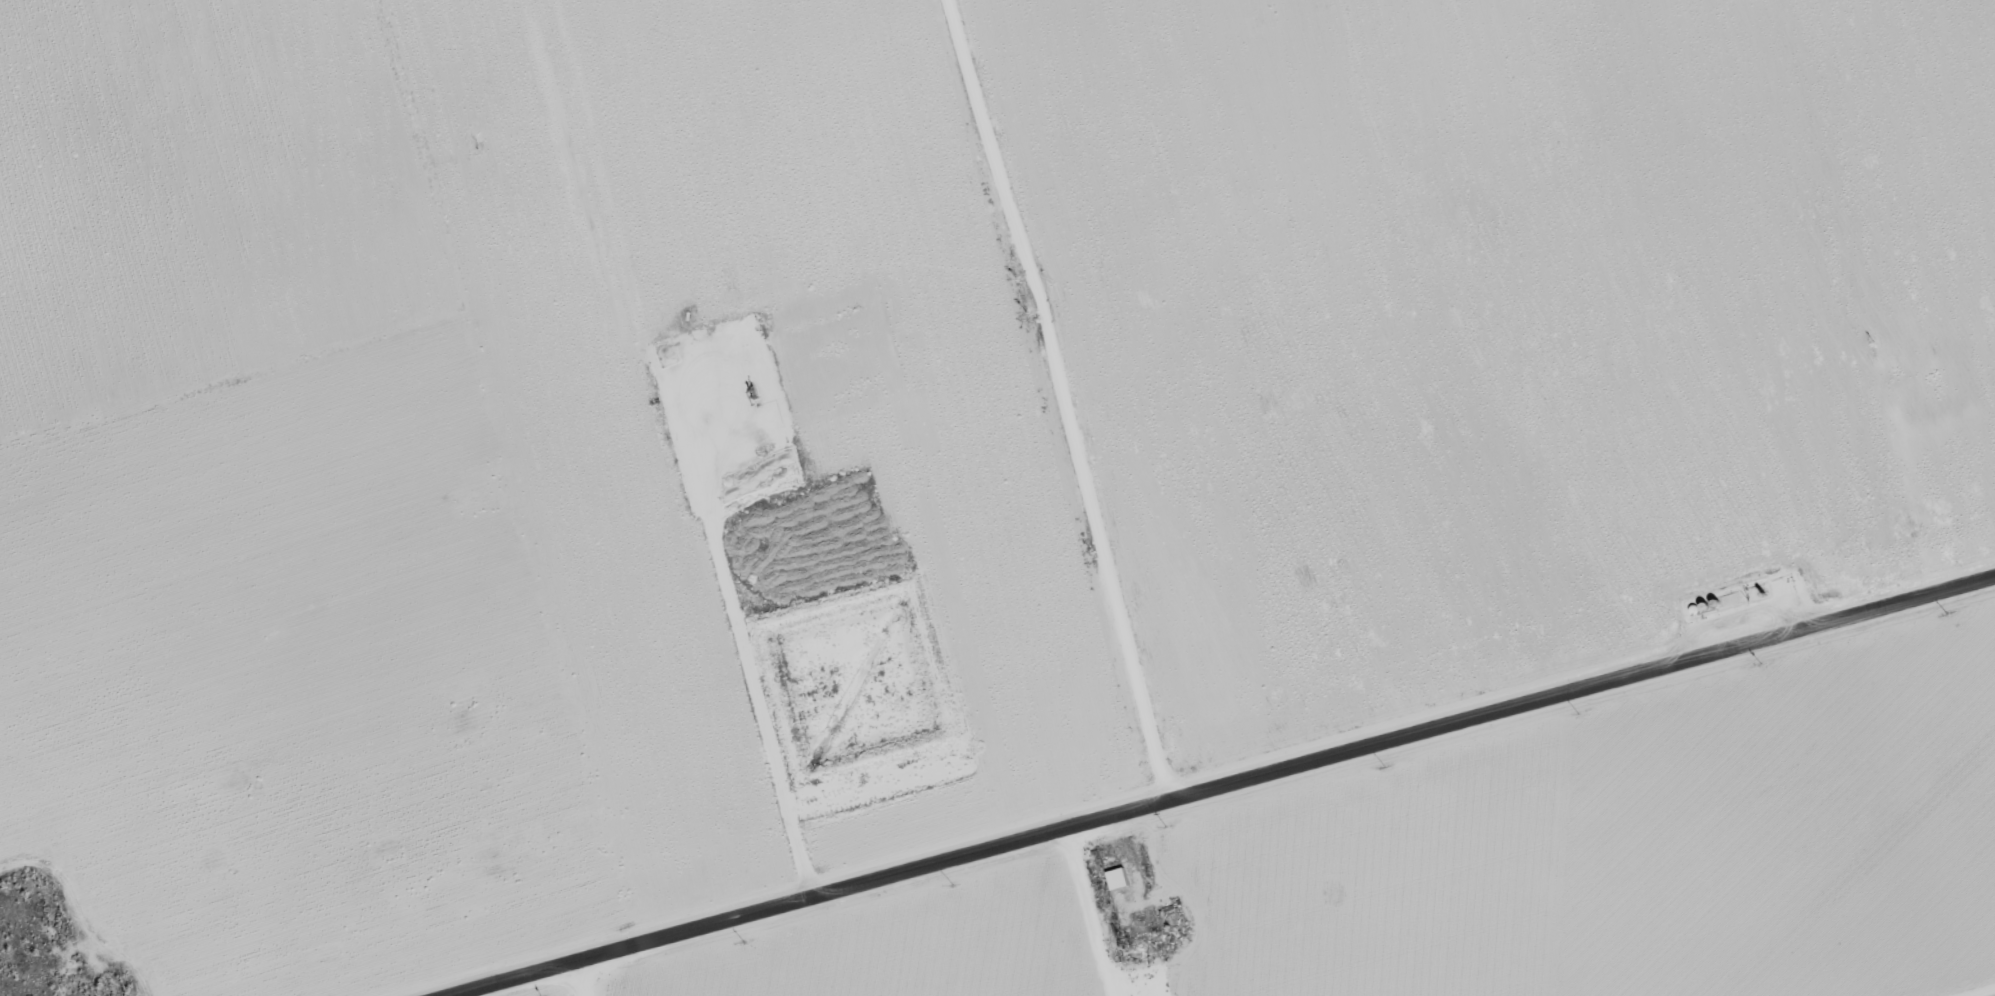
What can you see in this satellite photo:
road: (1242, 787)
building: (1118, 877)

